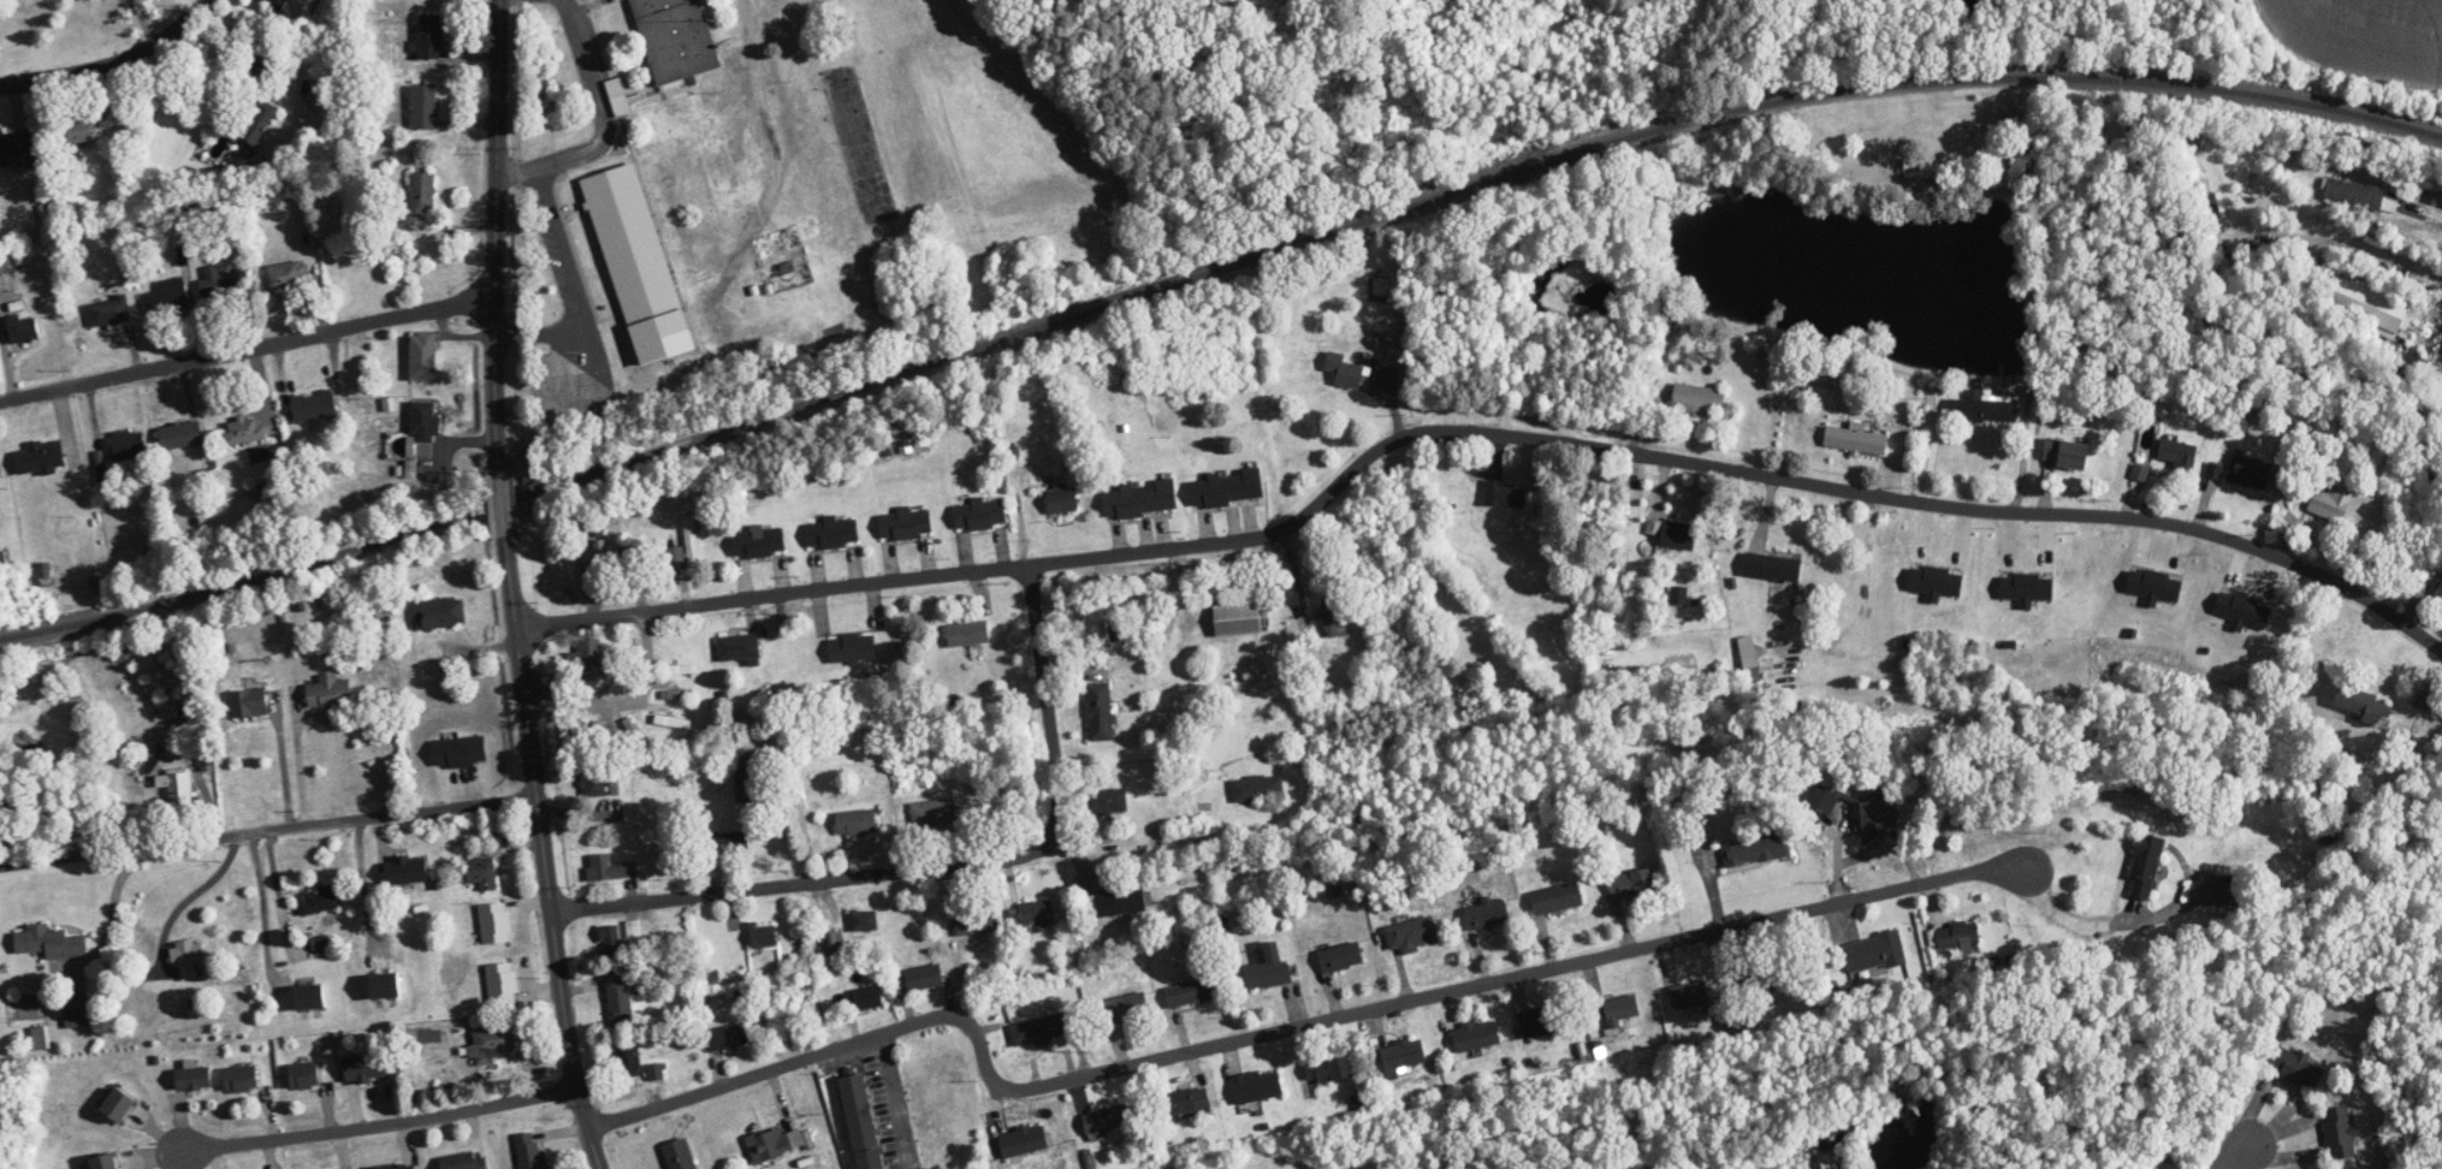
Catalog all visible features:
building: (87, 0)
building: (289, 7)
building: (429, 36)
building: (675, 40)
road: (111, 61)
building: (617, 96)
building: (423, 106)
building: (681, 109)
building: (727, 112)
building: (257, 125)
building: (82, 130)
building: (17, 142)
building: (728, 166)
building: (1922, 167)
road: (521, 168)
road: (551, 185)
building: (422, 194)
building: (2359, 195)
road: (2429, 219)
road: (496, 233)
railway: (1210, 274)
building: (288, 275)
building: (219, 285)
building: (1376, 290)
building: (170, 296)
building: (2369, 305)
building: (109, 311)
road: (2031, 326)
building: (23, 330)
road: (248, 346)
building: (423, 355)
building: (1345, 370)
building: (1511, 373)
building: (1697, 398)
building: (313, 405)
building: (1982, 408)
building: (423, 428)
building: (244, 431)
road: (1478, 434)
building: (180, 435)
building: (1853, 437)
building: (125, 445)
building: (2067, 453)
building: (2177, 453)
building: (41, 457)
building: (2250, 471)
building: (1226, 489)
building: (1505, 496)
building: (1140, 499)
building: (1062, 500)
road: (500, 502)
building: (2331, 503)
building: (979, 514)
road: (1023, 516)
building: (905, 524)
building: (832, 533)
building: (1672, 534)
building: (759, 541)
building: (692, 542)
road: (1279, 547)
building: (676, 554)
building: (627, 560)
building: (599, 563)
building: (1773, 568)
building: (2438, 592)
building: (441, 612)
building: (1334, 617)
building: (1238, 619)
building: (968, 634)
building: (739, 647)
building: (853, 647)
building: (677, 669)
building: (1750, 669)
building: (1249, 682)
building: (328, 693)
building: (675, 695)
road: (622, 696)
building: (249, 704)
building: (2364, 705)
road: (1044, 708)
building: (167, 712)
building: (1100, 712)
road: (298, 764)
road: (281, 769)
building: (748, 779)
building: (593, 783)
building: (177, 785)
building: (1257, 789)
building: (1824, 799)
building: (1108, 801)
building: (932, 812)
building: (1879, 817)
road: (801, 821)
building: (857, 821)
road: (268, 830)
building: (730, 842)
building: (1754, 850)
road: (545, 854)
road: (933, 864)
building: (2146, 866)
building: (606, 867)
building: (479, 872)
building: (1630, 883)
building: (2229, 890)
building: (1557, 898)
building: (320, 900)
building: (1118, 902)
road: (111, 909)
road: (263, 909)
building: (1032, 914)
building: (1487, 915)
building: (864, 920)
building: (976, 920)
road: (2078, 920)
building: (1413, 934)
building: (1957, 934)
building: (764, 936)
building: (610, 940)
building: (48, 942)
building: (1874, 953)
building: (186, 955)
building: (1340, 956)
building: (1269, 968)
building: (1774, 975)
building: (924, 978)
building: (385, 986)
building: (1192, 992)
building: (1689, 995)
building: (310, 997)
building: (863, 999)
building: (620, 1003)
building: (1127, 1007)
building: (1623, 1009)
building: (76, 1010)
building: (1541, 1022)
building: (1041, 1029)
road: (1281, 1031)
building: (1476, 1036)
building: (728, 1037)
building: (38, 1038)
building: (493, 1043)
building: (1404, 1055)
building: (628, 1062)
building: (2296, 1067)
building: (366, 1068)
building: (1328, 1069)
building: (304, 1076)
building: (192, 1079)
building: (241, 1079)
building: (1258, 1086)
road: (890, 1102)
building: (1180, 1102)
building: (119, 1104)
road: (997, 1106)
building: (1106, 1118)
building: (863, 1121)
road: (379, 1125)
building: (2339, 1132)
building: (1024, 1140)
building: (775, 1143)
building: (529, 1150)
road: (2231, 1153)
building: (680, 1155)
building: (463, 1161)
building: (105, 1162)

